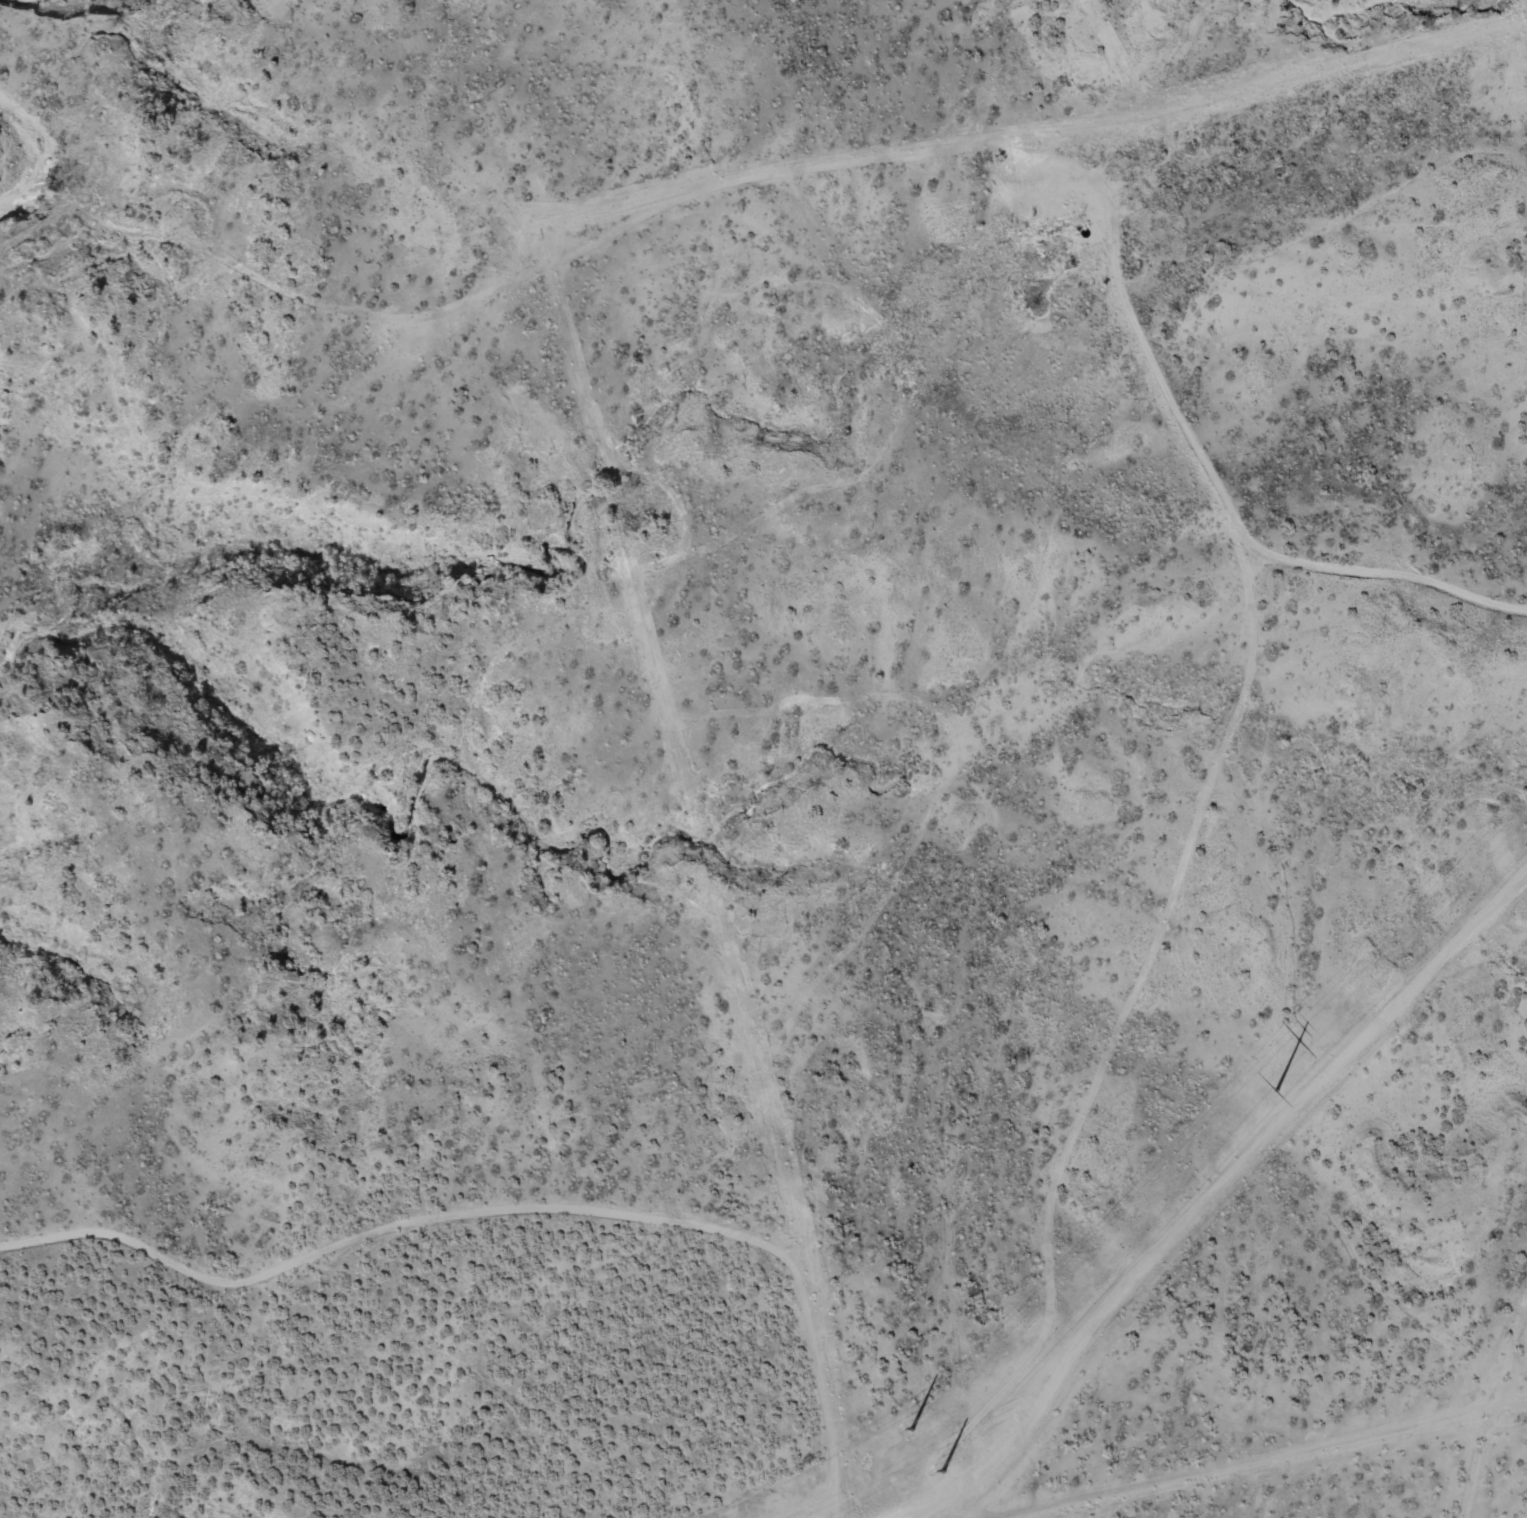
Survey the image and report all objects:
road: (769, 406)
power tower: (1274, 1088)
power tower: (927, 1446)
road: (1508, 1473)

